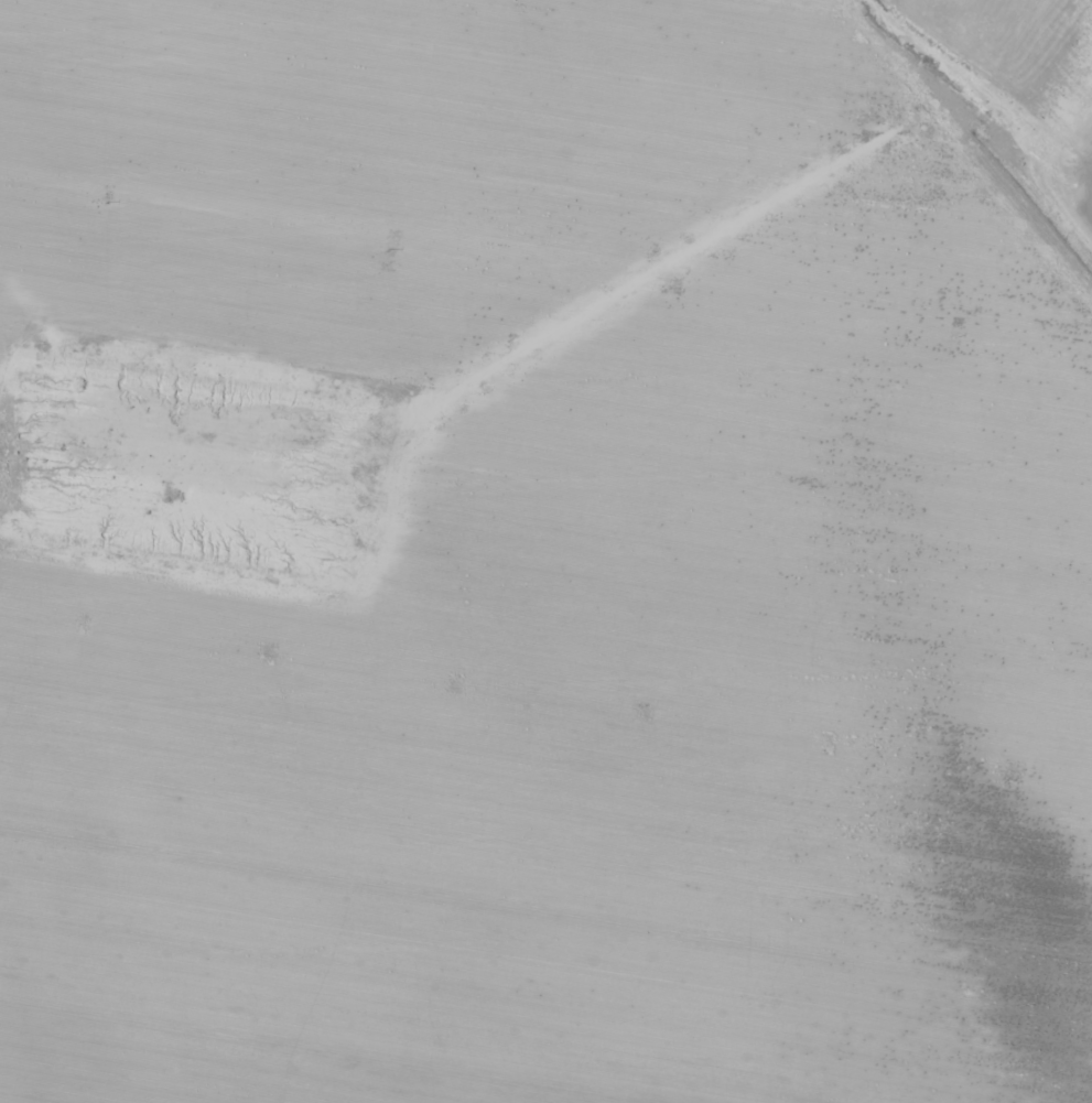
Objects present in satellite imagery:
landfill: (639, 77)

